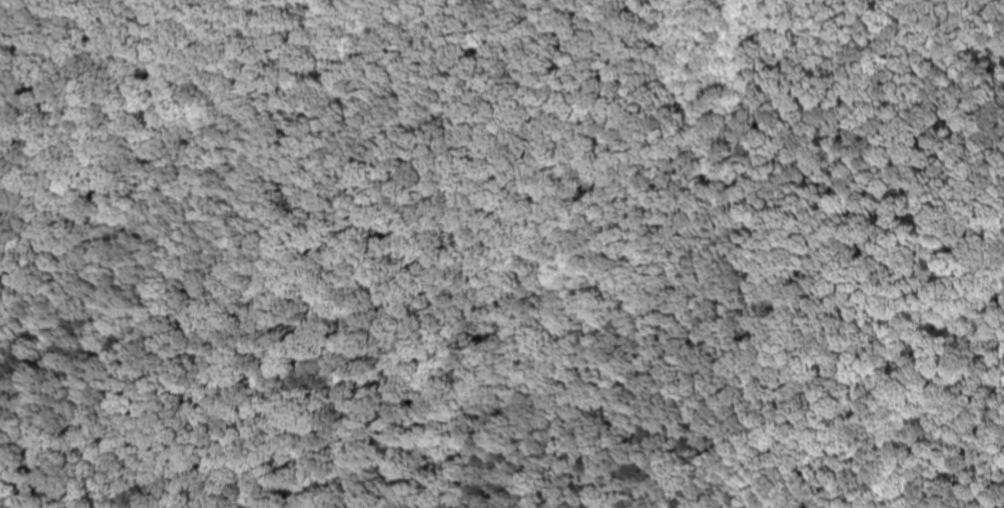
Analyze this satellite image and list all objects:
road: (941, 394)

